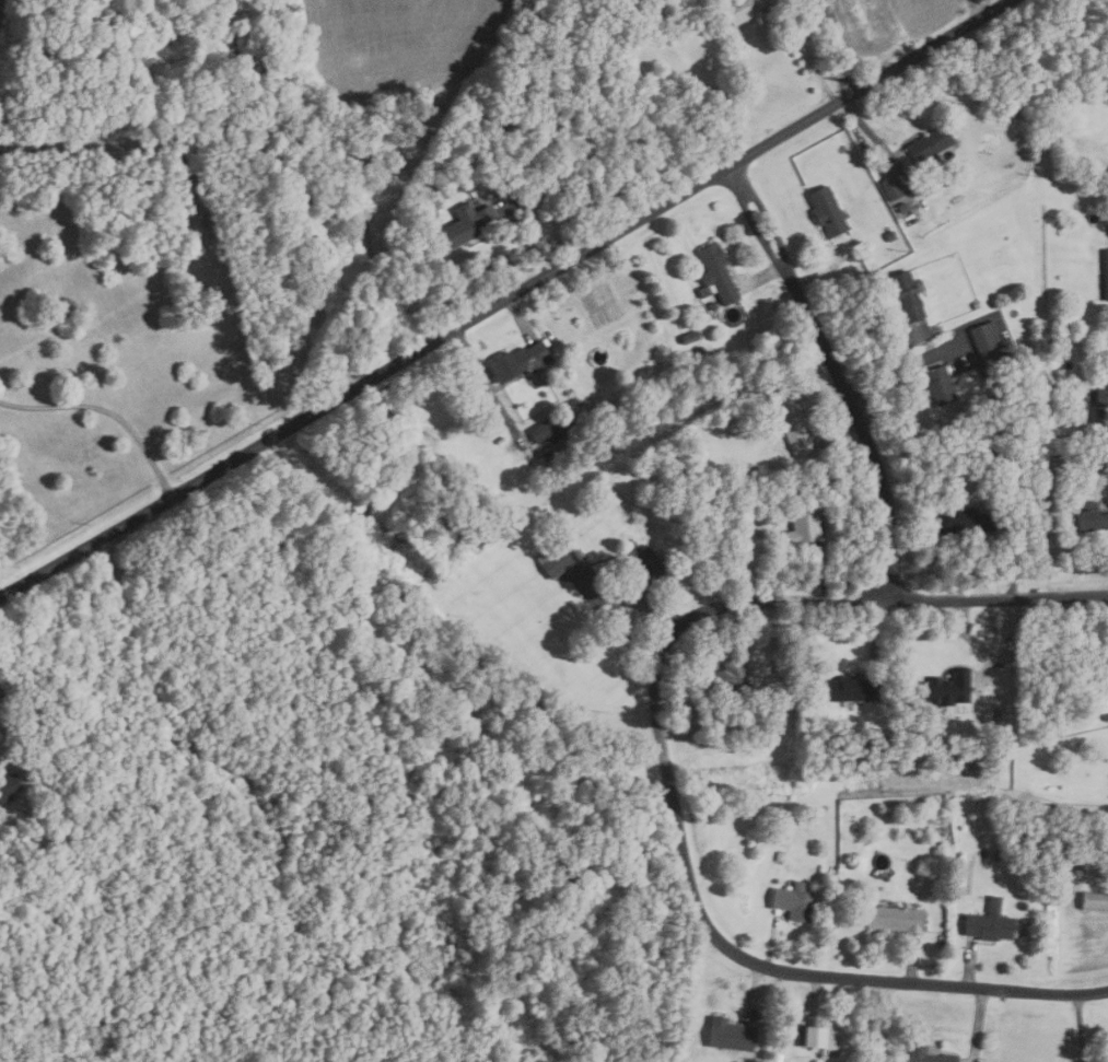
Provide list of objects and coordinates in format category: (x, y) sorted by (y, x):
building: (665, 1)
building: (738, 10)
road: (971, 12)
road: (805, 52)
building: (495, 131)
building: (928, 145)
building: (360, 147)
road: (882, 148)
building: (890, 187)
road: (533, 190)
building: (901, 208)
building: (825, 211)
building: (460, 226)
building: (889, 235)
road: (826, 270)
building: (713, 275)
building: (1105, 275)
road: (763, 276)
building: (905, 296)
road: (509, 301)
building: (709, 306)
road: (521, 318)
building: (688, 338)
building: (984, 338)
building: (1054, 346)
road: (877, 352)
building: (690, 354)
building: (516, 362)
road: (903, 369)
road: (836, 377)
building: (937, 385)
road: (488, 388)
building: (1101, 389)
road: (108, 412)
building: (570, 416)
building: (788, 421)
road: (1103, 423)
building: (579, 424)
building: (543, 431)
road: (841, 436)
building: (988, 456)
building: (1093, 466)
building: (749, 471)
building: (1087, 517)
building: (964, 518)
building: (801, 526)
road: (837, 540)
building: (556, 558)
road: (1017, 561)
building: (641, 565)
road: (611, 605)
road: (882, 645)
road: (978, 645)
building: (724, 675)
road: (672, 684)
building: (946, 688)
building: (845, 689)
building: (984, 716)
road: (665, 767)
building: (10, 786)
building: (1060, 840)
building: (1027, 849)
building: (996, 854)
building: (779, 855)
building: (791, 900)
building: (1094, 901)
building: (891, 919)
building: (987, 925)
road: (770, 941)
road: (911, 959)
road: (970, 964)
road: (754, 992)
road: (814, 995)
road: (977, 1025)
road: (1085, 1028)
building: (726, 1034)
building: (816, 1037)
building: (924, 1054)

